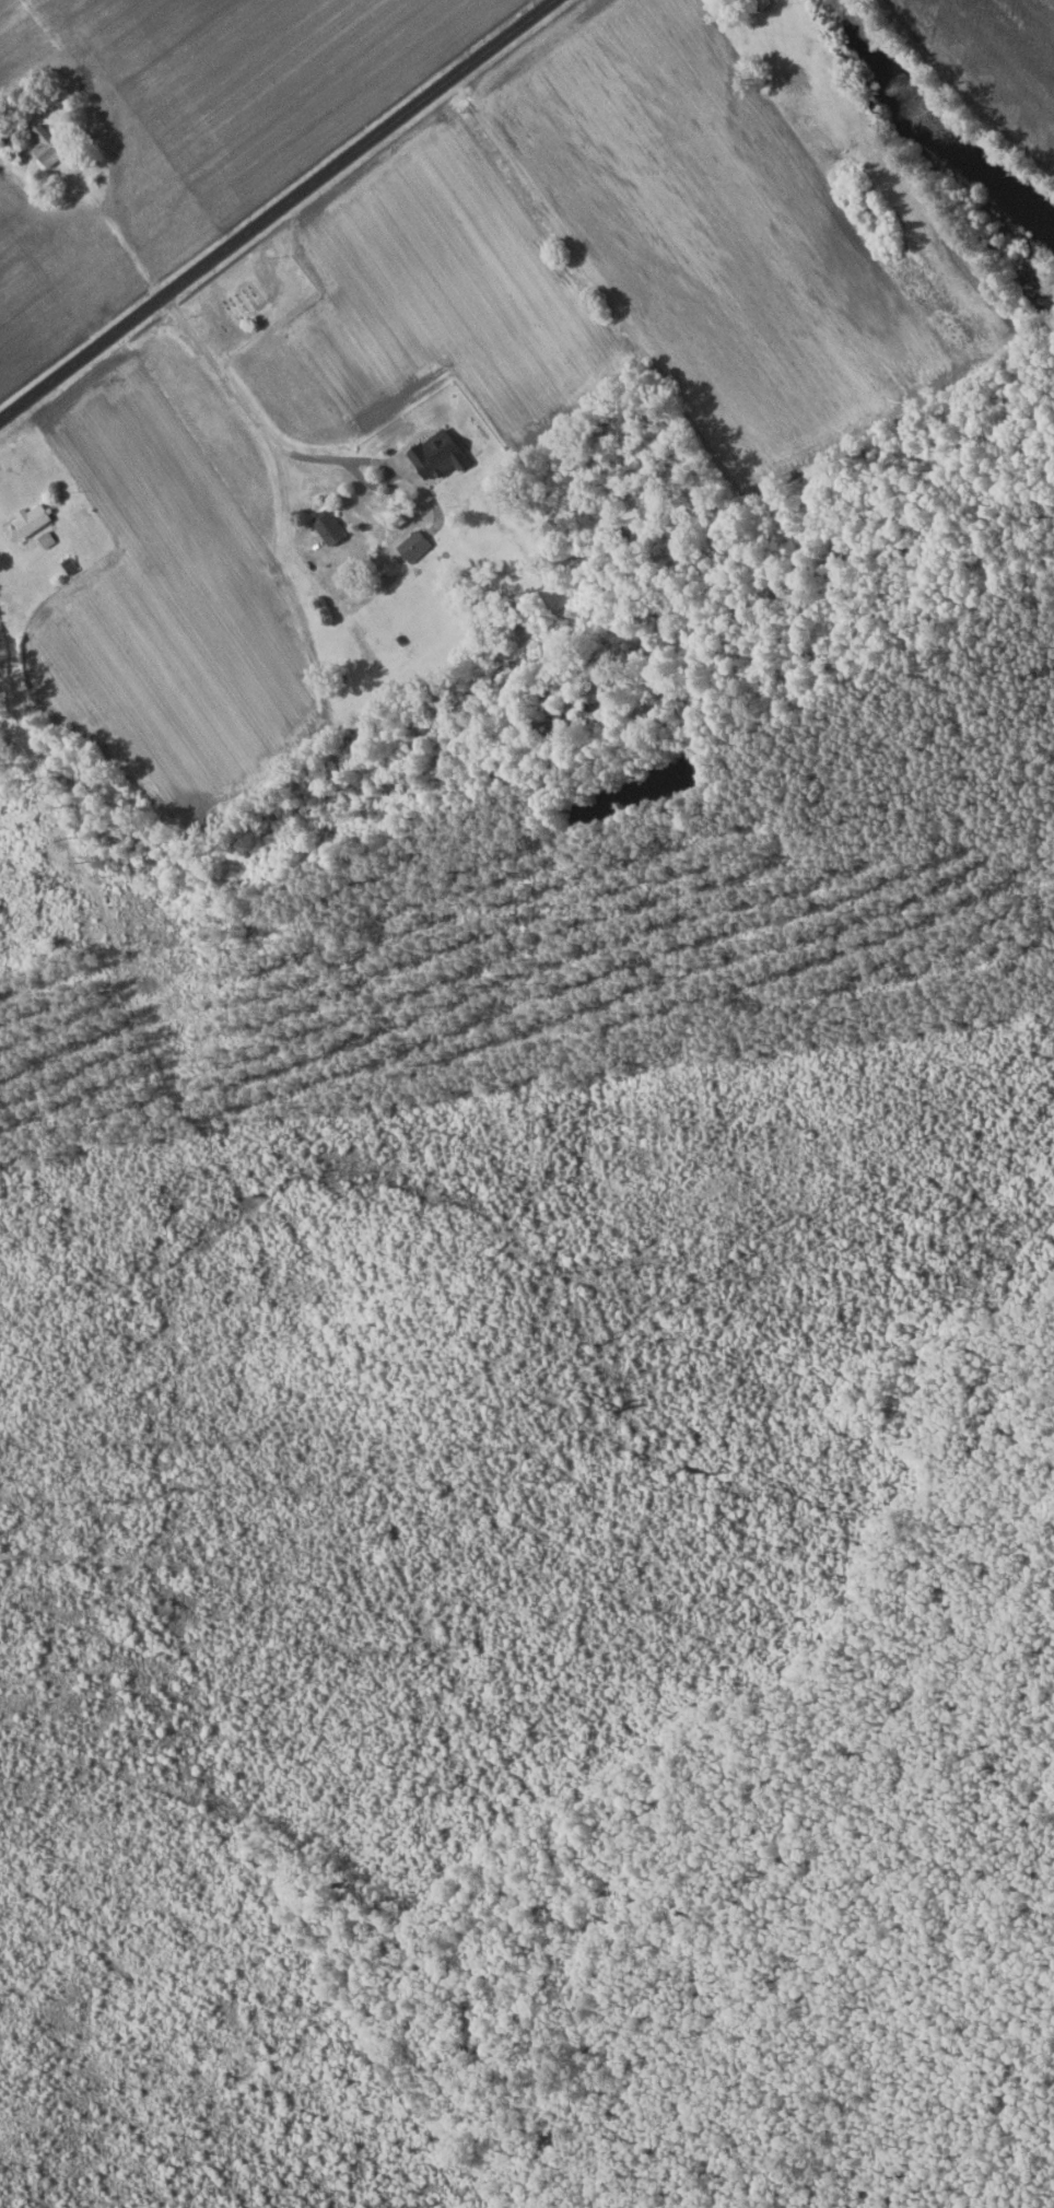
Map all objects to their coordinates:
building: (761, 3)
building: (2, 133)
building: (45, 147)
road: (278, 210)
building: (433, 455)
building: (30, 519)
building: (327, 527)
building: (411, 546)
building: (361, 643)

